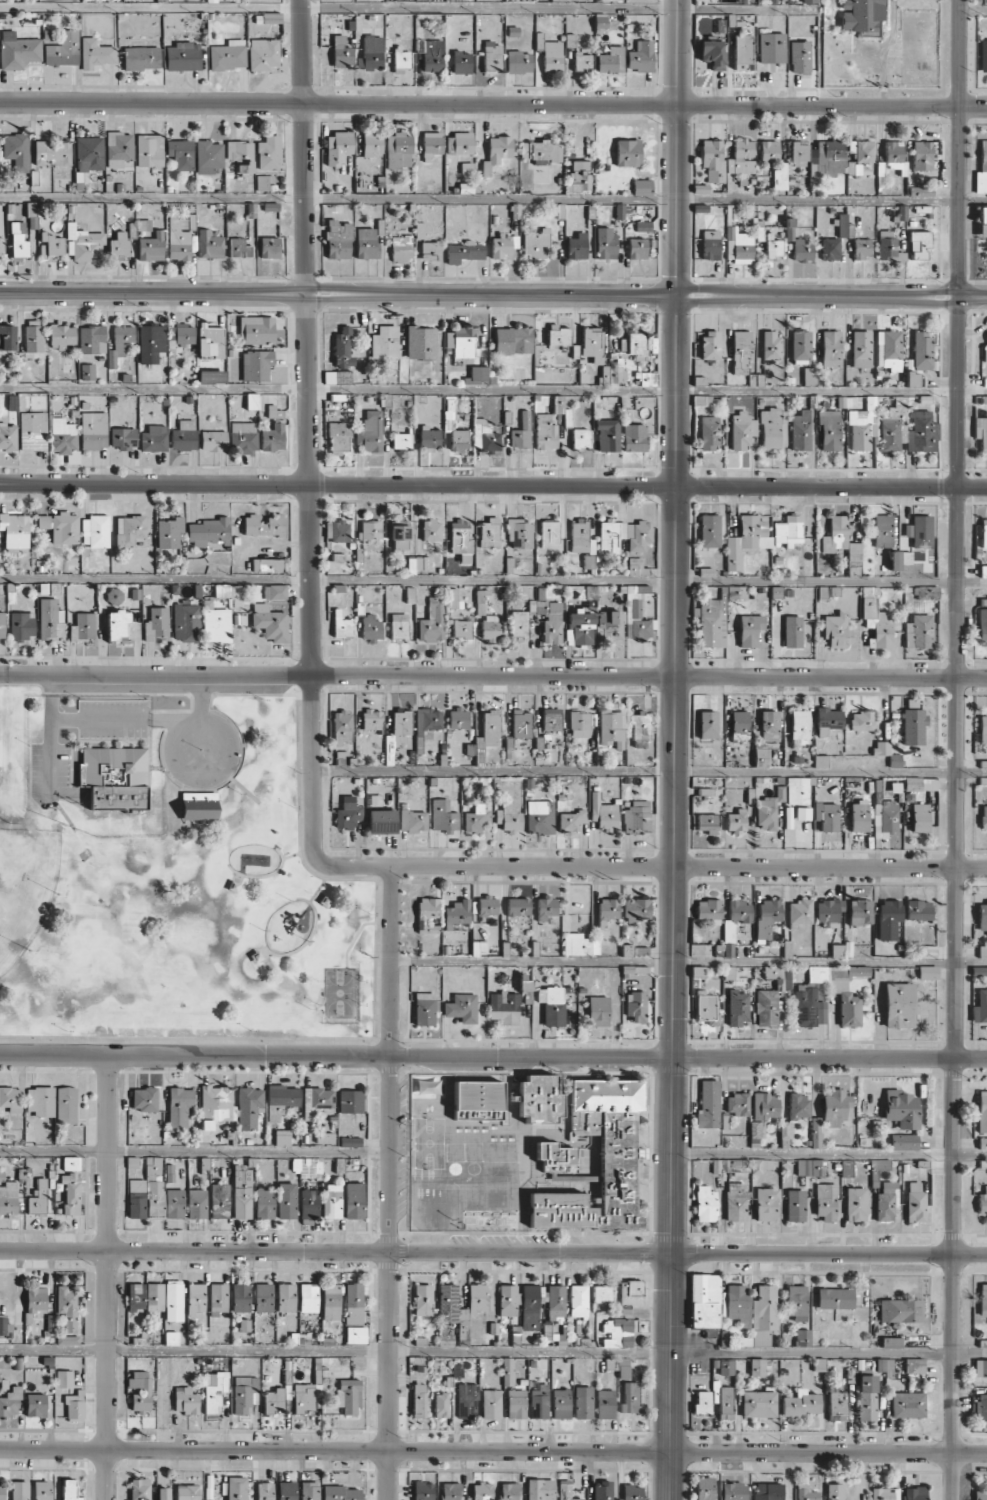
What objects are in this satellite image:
building: (557, 0)
building: (210, 1)
road: (408, 9)
road: (973, 11)
building: (861, 17)
building: (600, 22)
building: (720, 26)
building: (513, 31)
building: (772, 47)
building: (63, 49)
building: (17, 50)
building: (341, 52)
building: (371, 52)
building: (742, 52)
building: (95, 53)
building: (712, 53)
building: (263, 54)
building: (550, 54)
building: (228, 55)
building: (432, 55)
building: (983, 55)
building: (183, 56)
building: (641, 56)
building: (492, 57)
building: (799, 57)
building: (141, 58)
building: (401, 59)
building: (611, 60)
building: (462, 62)
building: (519, 62)
building: (582, 62)
road: (493, 104)
building: (372, 143)
building: (432, 143)
building: (459, 143)
building: (337, 147)
road: (677, 147)
road: (958, 147)
building: (119, 149)
building: (16, 150)
building: (148, 150)
building: (769, 150)
building: (398, 151)
building: (540, 151)
building: (496, 152)
building: (52, 153)
building: (89, 153)
building: (268, 153)
building: (628, 153)
building: (180, 154)
building: (798, 154)
building: (859, 155)
building: (921, 155)
building: (208, 156)
building: (240, 156)
building: (833, 157)
building: (893, 157)
building: (741, 158)
building: (712, 160)
building: (816, 169)
building: (982, 169)
building: (780, 177)
building: (265, 182)
building: (578, 182)
building: (642, 187)
road: (493, 203)
building: (270, 206)
building: (619, 211)
building: (982, 221)
building: (643, 226)
building: (843, 226)
building: (338, 239)
building: (18, 241)
building: (178, 241)
building: (366, 243)
building: (535, 243)
building: (605, 243)
building: (83, 244)
building: (118, 244)
building: (209, 244)
building: (918, 244)
building: (1, 245)
building: (51, 245)
building: (710, 245)
building: (501, 246)
building: (738, 246)
building: (151, 247)
building: (269, 247)
building: (577, 247)
building: (888, 247)
building: (238, 248)
building: (637, 248)
building: (773, 248)
building: (830, 248)
building: (401, 249)
building: (861, 249)
building: (430, 250)
building: (801, 250)
building: (464, 252)
road: (338, 294)
road: (818, 295)
road: (973, 296)
building: (256, 330)
building: (180, 335)
building: (33, 336)
building: (62, 336)
building: (558, 336)
building: (986, 336)
building: (7, 337)
building: (91, 339)
building: (513, 340)
building: (210, 341)
building: (150, 342)
building: (384, 342)
building: (461, 342)
building: (421, 343)
building: (120, 344)
building: (591, 344)
building: (633, 345)
building: (710, 345)
building: (770, 345)
building: (801, 347)
building: (343, 349)
building: (830, 349)
building: (860, 349)
building: (890, 349)
building: (922, 350)
building: (740, 351)
building: (984, 353)
building: (256, 365)
building: (87, 371)
building: (478, 374)
building: (613, 375)
building: (212, 376)
building: (809, 376)
building: (336, 377)
building: (913, 379)
road: (493, 390)
road: (677, 390)
road: (956, 391)
building: (252, 401)
building: (12, 402)
building: (558, 404)
building: (274, 412)
building: (863, 425)
building: (773, 429)
building: (908, 429)
building: (93, 430)
building: (742, 430)
building: (800, 430)
building: (829, 430)
building: (33, 431)
building: (981, 431)
building: (370, 432)
building: (521, 432)
building: (545, 432)
building: (708, 433)
road: (308, 434)
building: (62, 435)
building: (184, 435)
building: (608, 435)
building: (8, 436)
building: (338, 436)
building: (243, 437)
building: (272, 437)
building: (429, 437)
building: (486, 437)
building: (633, 437)
building: (123, 438)
building: (154, 438)
building: (580, 438)
building: (213, 440)
building: (401, 440)
building: (459, 440)
road: (154, 483)
road: (492, 485)
road: (815, 487)
road: (970, 488)
building: (263, 525)
building: (60, 527)
building: (14, 530)
building: (129, 530)
building: (337, 530)
building: (370, 530)
building: (431, 530)
building: (708, 530)
building: (787, 530)
building: (882, 530)
building: (95, 531)
building: (921, 531)
building: (169, 532)
building: (208, 532)
building: (489, 533)
building: (399, 534)
building: (519, 534)
building: (549, 534)
building: (835, 534)
building: (623, 536)
building: (983, 536)
building: (581, 538)
building: (461, 540)
building: (745, 540)
building: (853, 552)
building: (894, 560)
building: (418, 562)
building: (589, 562)
building: (267, 565)
building: (636, 567)
building: (983, 571)
road: (493, 579)
building: (222, 590)
building: (275, 592)
building: (736, 592)
building: (926, 592)
building: (452, 598)
building: (480, 602)
building: (50, 619)
building: (875, 620)
building: (432, 621)
building: (186, 622)
building: (157, 623)
building: (216, 623)
building: (270, 623)
building: (711, 623)
building: (117, 624)
building: (341, 624)
building: (552, 624)
building: (2, 625)
building: (22, 625)
building: (518, 625)
building: (399, 626)
building: (609, 626)
building: (84, 627)
building: (371, 627)
building: (578, 627)
building: (491, 628)
building: (461, 629)
building: (749, 629)
building: (837, 630)
building: (792, 631)
building: (918, 632)
building: (982, 634)
road: (493, 675)
road: (147, 719)
building: (371, 719)
building: (458, 719)
building: (551, 719)
building: (428, 720)
building: (827, 720)
building: (860, 721)
building: (402, 722)
building: (521, 724)
building: (579, 724)
building: (708, 724)
building: (769, 726)
building: (799, 727)
building: (913, 727)
building: (342, 728)
building: (611, 728)
building: (640, 729)
building: (983, 729)
road: (180, 731)
building: (486, 737)
building: (881, 747)
road: (48, 753)
building: (761, 757)
building: (821, 761)
road: (649, 769)
building: (114, 777)
building: (920, 784)
building: (797, 790)
building: (198, 805)
building: (768, 809)
building: (604, 813)
building: (803, 813)
building: (348, 815)
building: (443, 816)
building: (826, 816)
building: (885, 816)
building: (983, 816)
building: (478, 817)
building: (508, 817)
building: (636, 817)
building: (859, 817)
building: (920, 817)
building: (413, 820)
building: (381, 821)
building: (572, 821)
building: (736, 821)
building: (707, 823)
road: (297, 853)
road: (655, 866)
park: (172, 874)
road: (265, 875)
road: (235, 877)
road: (319, 884)
park: (24, 887)
building: (484, 906)
building: (517, 906)
building: (546, 907)
building: (636, 909)
building: (708, 909)
building: (918, 910)
building: (607, 911)
building: (799, 912)
building: (859, 912)
building: (456, 913)
building: (826, 913)
building: (427, 914)
building: (982, 915)
building: (767, 917)
building: (888, 918)
road: (356, 934)
building: (728, 939)
road: (306, 940)
building: (576, 944)
building: (841, 950)
road: (686, 962)
building: (979, 971)
building: (927, 972)
building: (774, 975)
building: (840, 989)
park: (337, 992)
road: (672, 992)
road: (953, 994)
building: (552, 1005)
building: (899, 1005)
building: (635, 1006)
building: (704, 1006)
building: (462, 1007)
building: (504, 1007)
building: (737, 1007)
building: (809, 1007)
building: (980, 1007)
building: (424, 1008)
building: (766, 1008)
building: (598, 1011)
road: (493, 1056)
building: (11, 1098)
building: (144, 1099)
building: (538, 1099)
building: (281, 1100)
building: (477, 1100)
building: (40, 1101)
building: (316, 1101)
building: (350, 1101)
building: (708, 1103)
building: (737, 1104)
building: (66, 1105)
building: (216, 1105)
building: (798, 1105)
building: (765, 1106)
building: (180, 1107)
building: (249, 1107)
building: (834, 1108)
building: (901, 1109)
building: (982, 1111)
building: (757, 1130)
building: (815, 1133)
building: (785, 1134)
building: (282, 1137)
building: (325, 1137)
building: (350, 1141)
building: (903, 1142)
building: (982, 1143)
road: (194, 1151)
road: (829, 1152)
building: (553, 1156)
building: (71, 1163)
building: (616, 1163)
building: (984, 1163)
building: (761, 1165)
building: (803, 1167)
road: (388, 1182)
building: (154, 1187)
building: (242, 1191)
building: (70, 1193)
building: (8, 1198)
building: (136, 1198)
building: (38, 1199)
building: (218, 1200)
building: (286, 1200)
building: (332, 1201)
building: (354, 1201)
building: (735, 1201)
building: (825, 1201)
building: (885, 1202)
building: (915, 1202)
building: (982, 1202)
building: (174, 1203)
building: (196, 1203)
building: (264, 1203)
building: (309, 1204)
building: (705, 1204)
building: (766, 1204)
building: (855, 1204)
building: (795, 1205)
road: (493, 1252)
road: (107, 1277)
building: (631, 1293)
building: (602, 1294)
building: (136, 1296)
building: (154, 1296)
building: (240, 1297)
building: (263, 1297)
building: (285, 1297)
building: (308, 1297)
building: (196, 1298)
building: (834, 1298)
building: (36, 1299)
building: (218, 1299)
building: (479, 1299)
building: (423, 1300)
building: (508, 1300)
building: (331, 1301)
building: (556, 1301)
building: (578, 1301)
building: (704, 1301)
building: (173, 1302)
building: (795, 1302)
building: (353, 1303)
building: (737, 1304)
building: (67, 1307)
building: (530, 1307)
building: (452, 1308)
building: (900, 1310)
building: (762, 1315)
building: (4, 1326)
building: (617, 1333)
building: (356, 1334)
building: (171, 1338)
building: (802, 1338)
building: (891, 1342)
road: (493, 1352)
building: (914, 1365)
building: (757, 1366)
building: (885, 1366)
building: (726, 1367)
building: (623, 1368)
building: (980, 1368)
building: (507, 1371)
building: (64, 1378)
building: (145, 1390)
building: (214, 1390)
building: (244, 1394)
building: (348, 1396)
building: (303, 1397)
building: (630, 1397)
building: (866, 1397)
building: (186, 1400)
building: (274, 1400)
building: (419, 1400)
building: (467, 1400)
building: (538, 1400)
building: (10, 1402)
building: (583, 1402)
building: (725, 1402)
building: (515, 1403)
building: (560, 1403)
building: (702, 1403)
building: (490, 1404)
building: (605, 1404)
building: (758, 1404)
building: (801, 1404)
building: (836, 1404)
building: (35, 1405)
building: (441, 1405)
building: (907, 1405)
building: (75, 1406)
building: (981, 1407)
road: (493, 1450)
building: (236, 1488)
building: (704, 1488)
building: (139, 1489)
building: (540, 1489)
building: (2, 1490)
building: (19, 1490)
building: (42, 1490)
building: (69, 1490)
building: (287, 1490)
building: (309, 1490)
building: (602, 1490)
building: (264, 1491)
building: (423, 1491)
building: (450, 1491)
building: (481, 1491)
building: (509, 1491)
building: (568, 1491)
building: (734, 1491)
building: (767, 1491)
building: (834, 1491)
building: (187, 1492)
building: (632, 1492)
building: (162, 1493)
building: (341, 1493)
building: (805, 1493)
building: (915, 1493)
building: (885, 1494)
building: (981, 1495)

